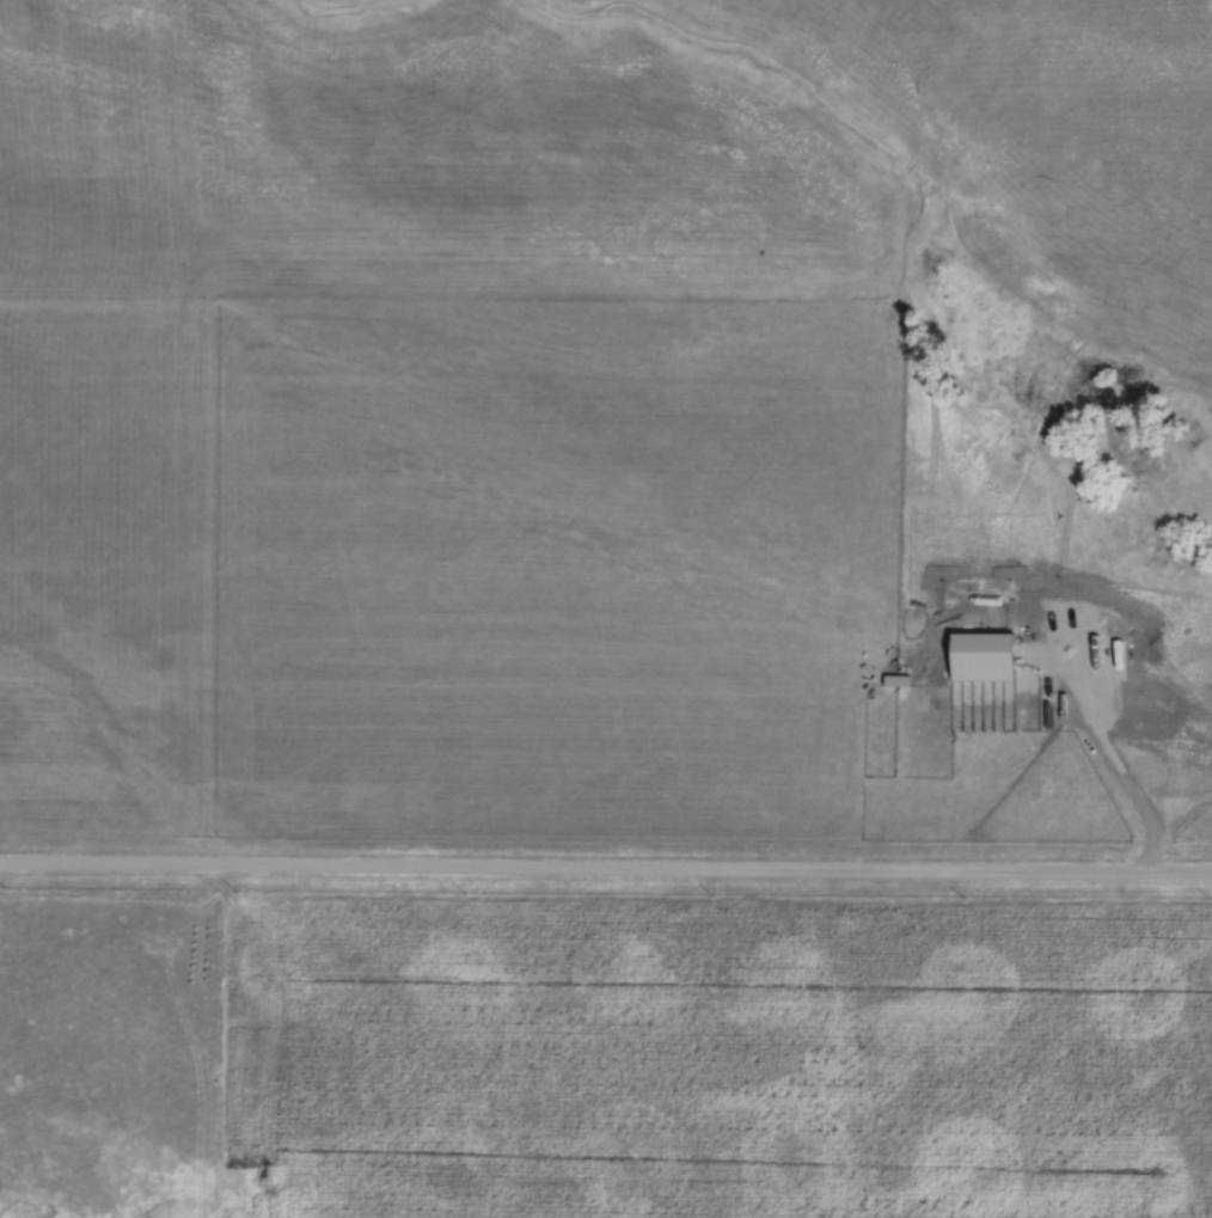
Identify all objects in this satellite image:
road: (606, 861)

